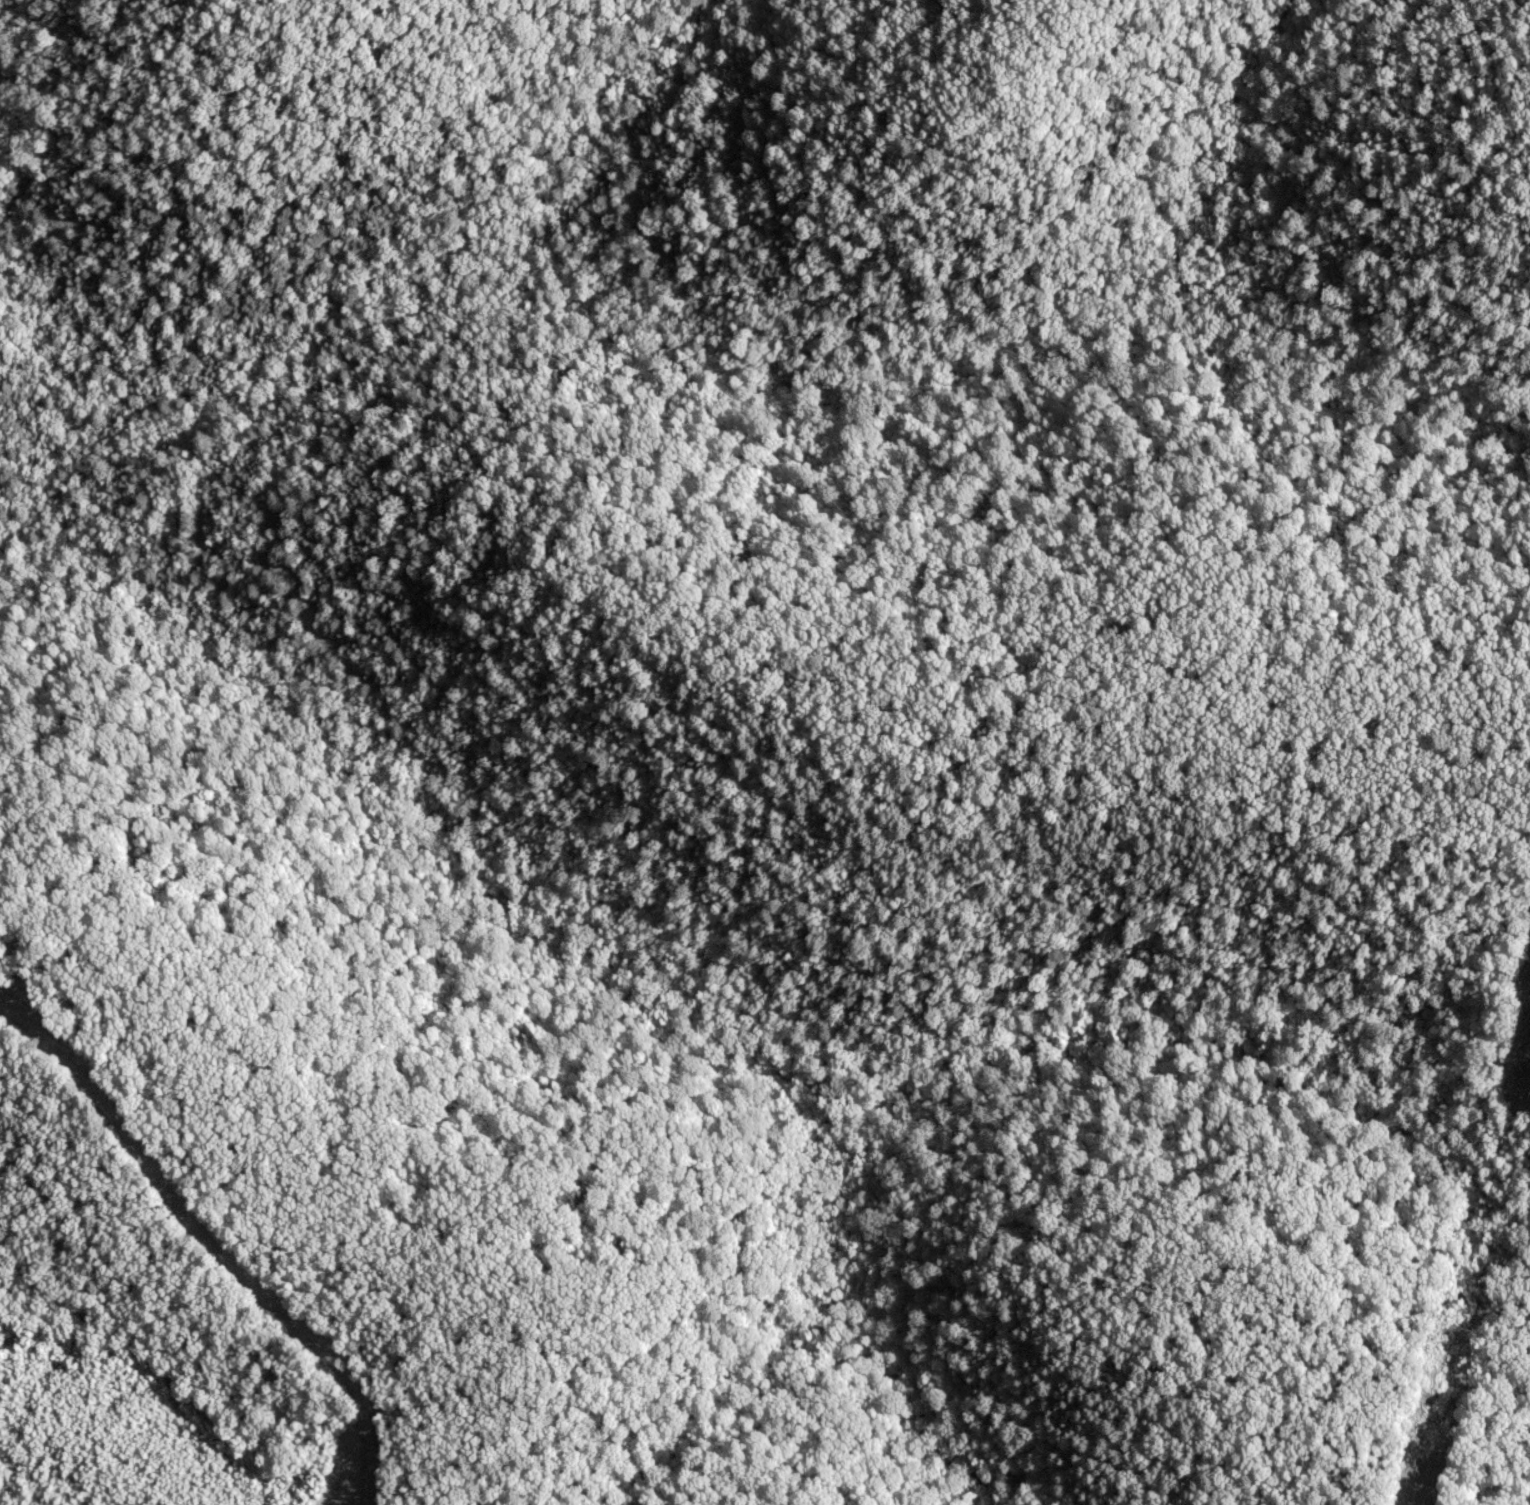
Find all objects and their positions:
road: (218, 1237)

